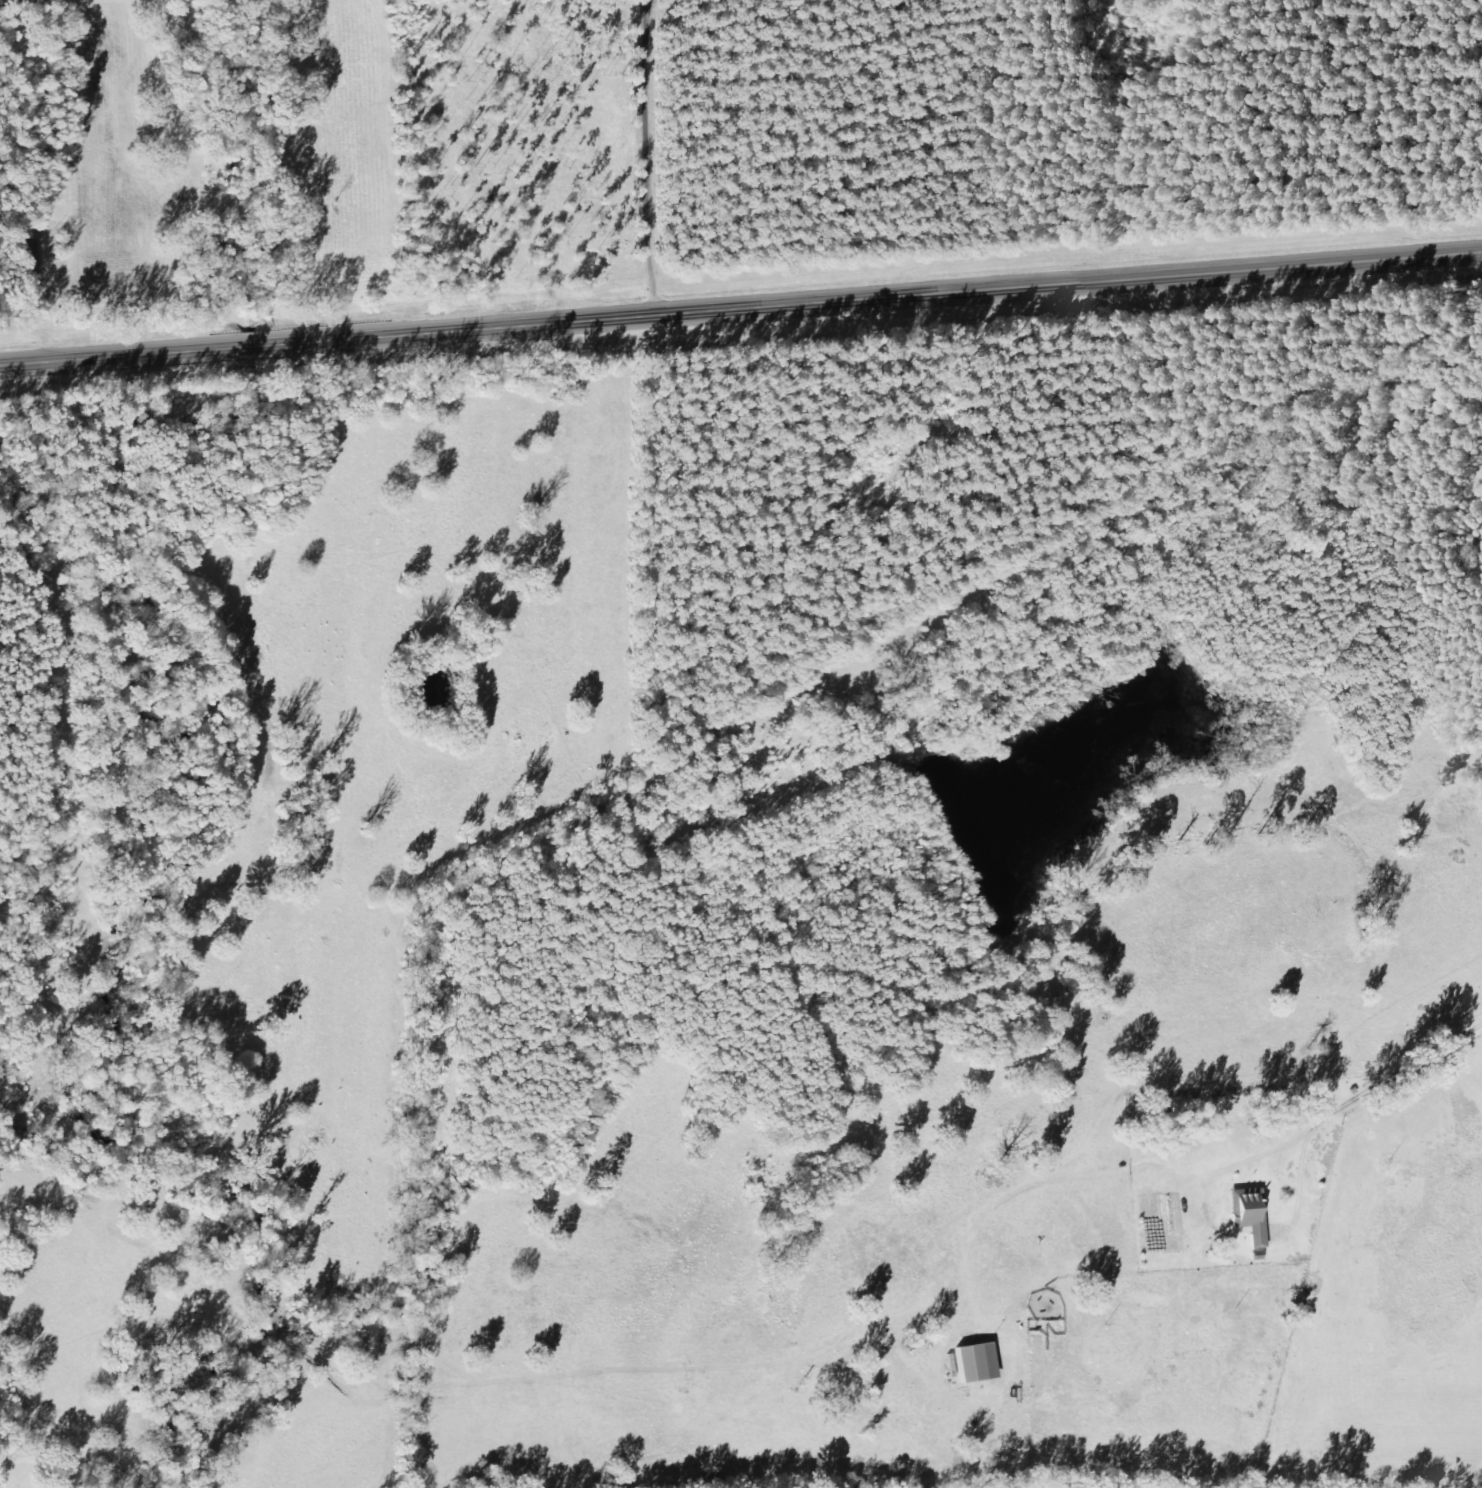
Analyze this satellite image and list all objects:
road: (681, 159)
road: (740, 314)
road: (1194, 1165)
building: (1251, 1214)
building: (978, 1365)

